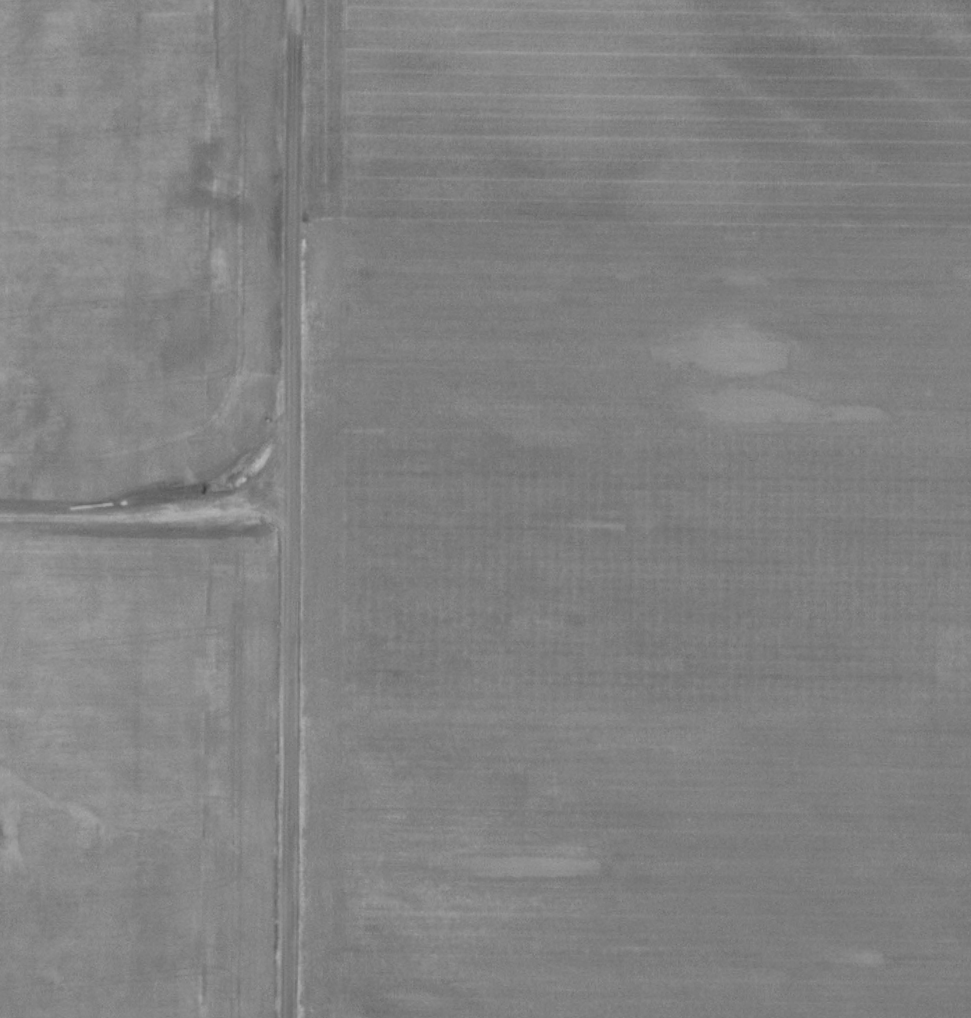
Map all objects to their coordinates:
road: (289, 508)
road: (144, 515)

